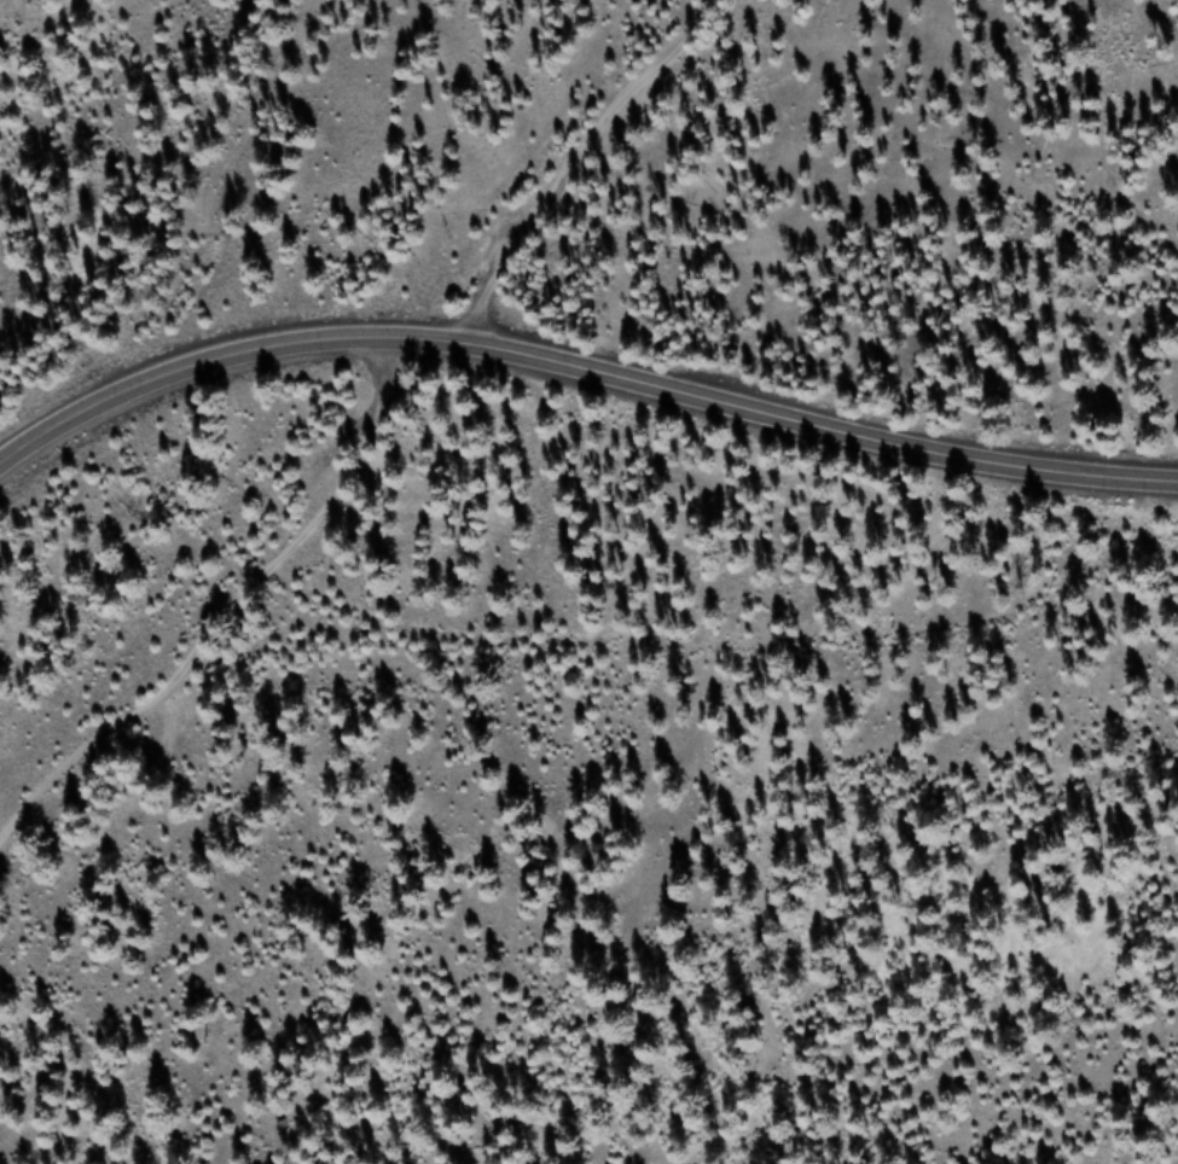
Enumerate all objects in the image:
road: (571, 158)
road: (580, 363)
road: (231, 610)

